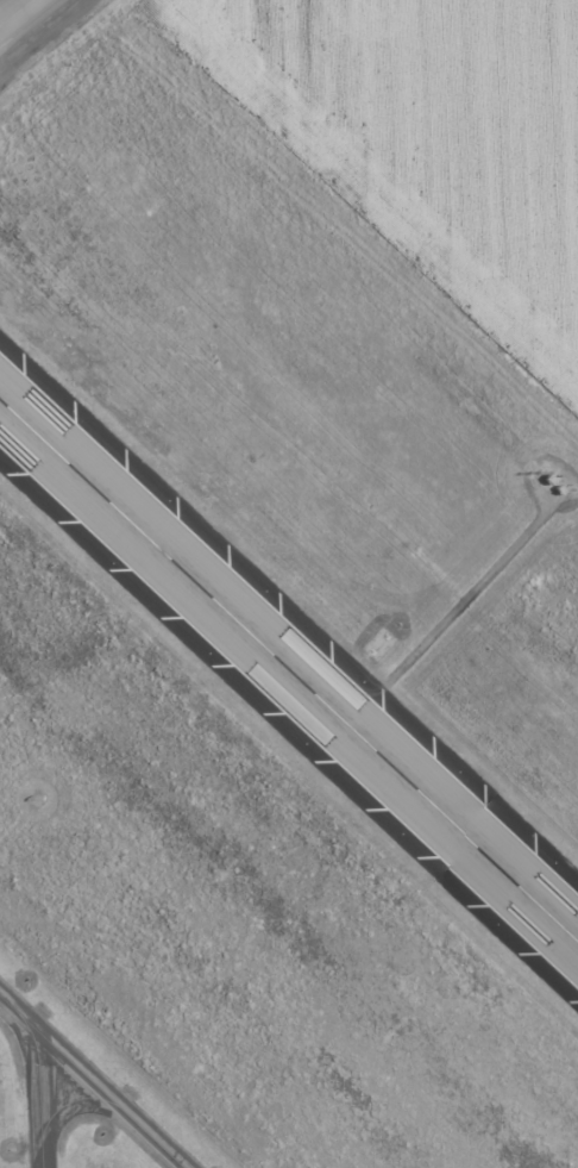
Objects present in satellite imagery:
airport taxiway: (15, 13)
airport: (289, 583)
airport runway: (289, 673)
airport taxiway: (90, 1081)
airport taxiway: (39, 1088)

